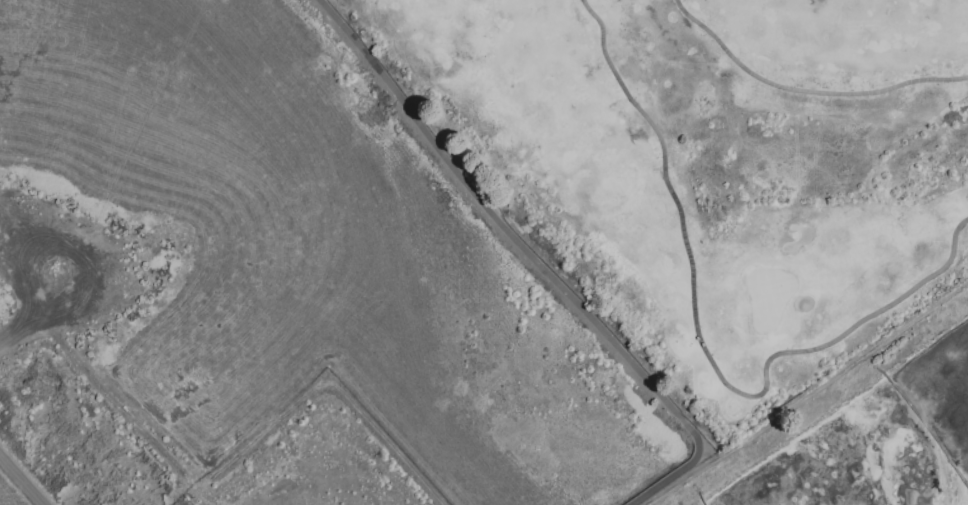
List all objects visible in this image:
road: (806, 90)
park: (709, 168)
road: (535, 261)
airport: (268, 286)
road: (38, 311)
road: (703, 345)
road: (809, 398)
road: (23, 478)

